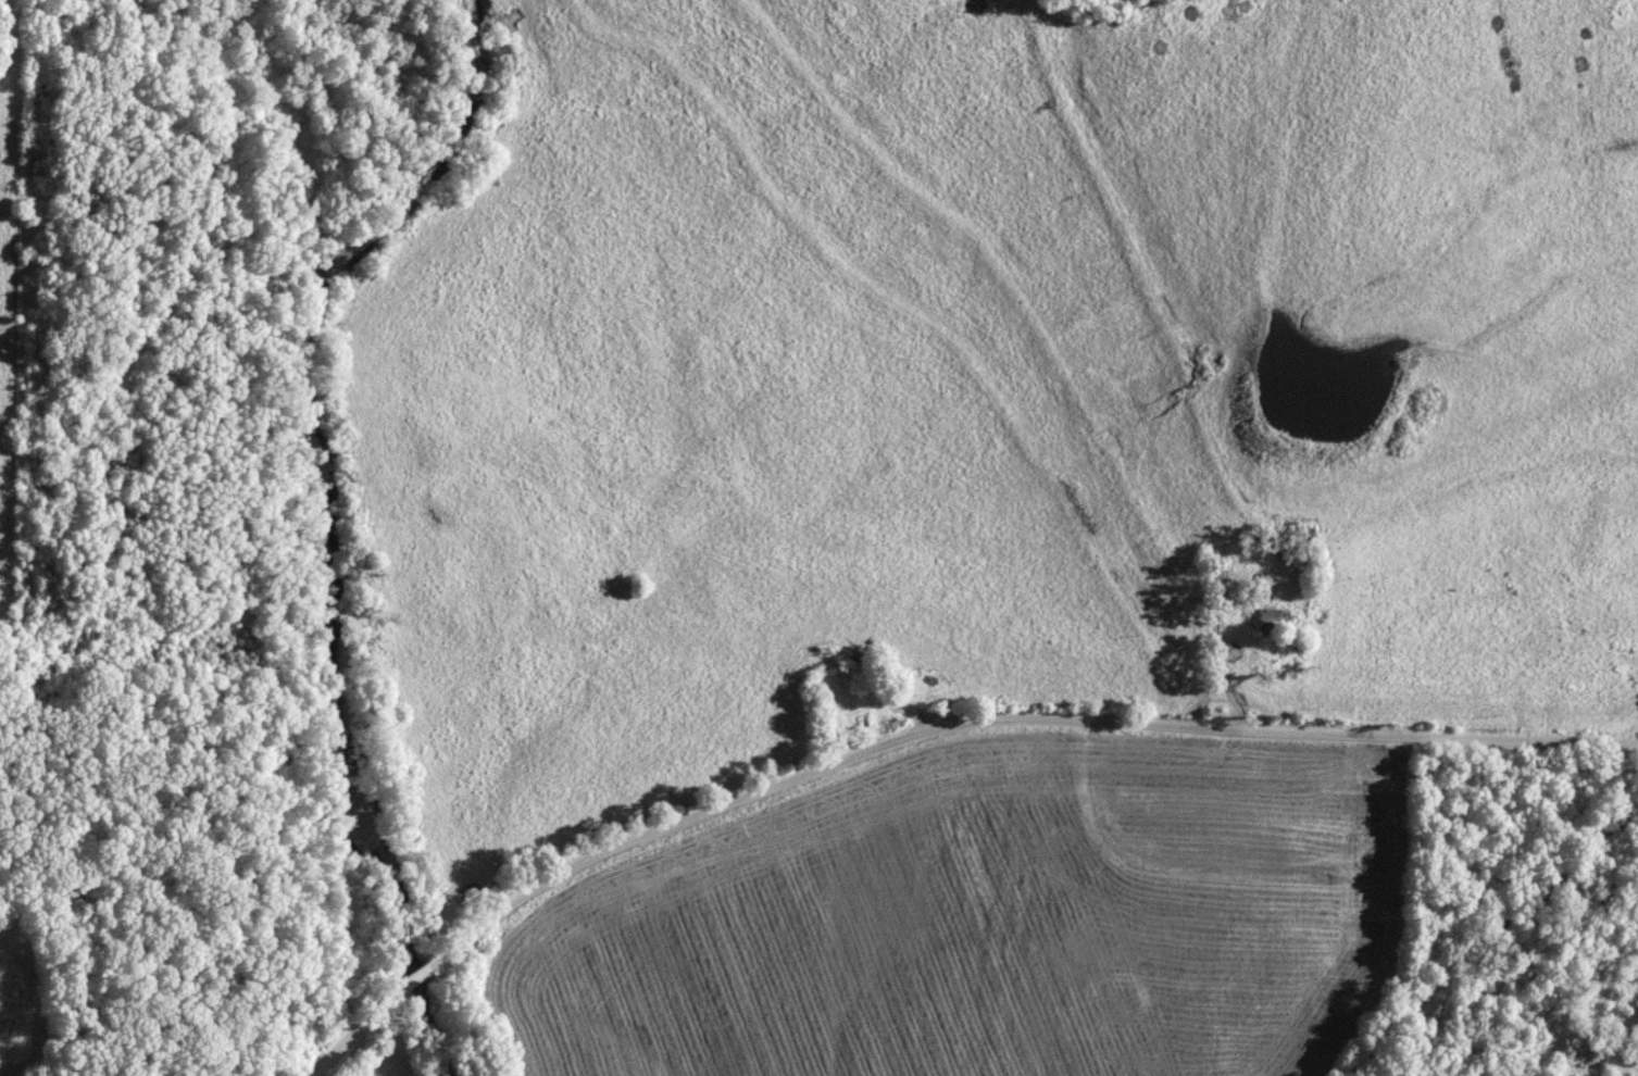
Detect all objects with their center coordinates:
building: (1271, 620)
road: (927, 730)

